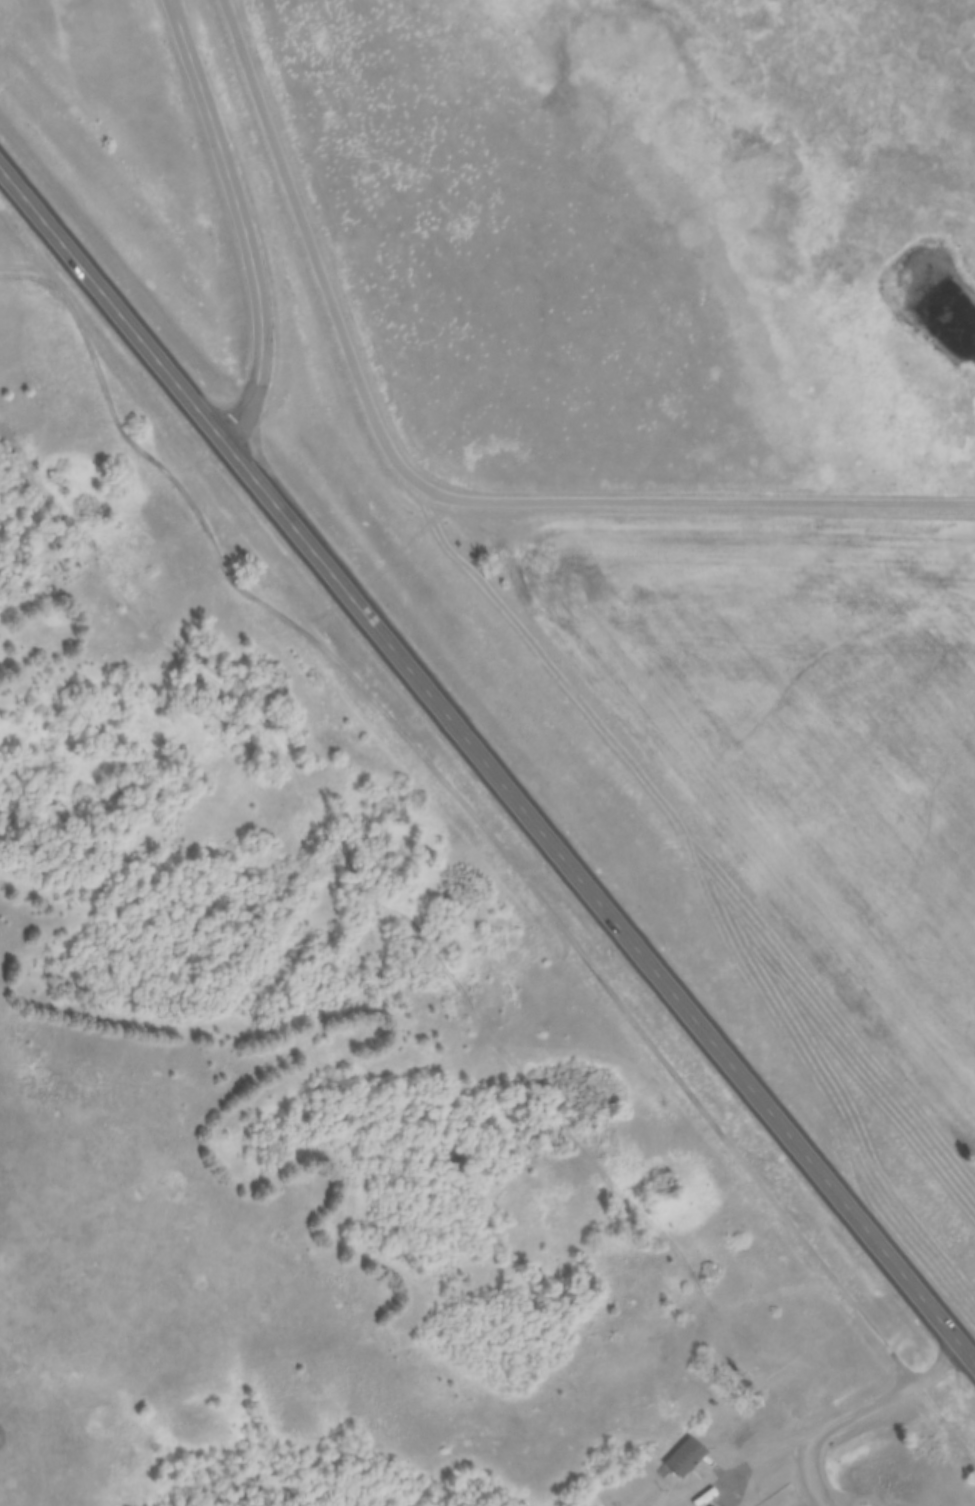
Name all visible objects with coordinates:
road: (241, 219)
road: (435, 491)
road: (488, 760)
road: (526, 880)
building: (773, 1117)
road: (856, 1414)
building: (690, 1457)
road: (815, 1465)
road: (726, 1483)

